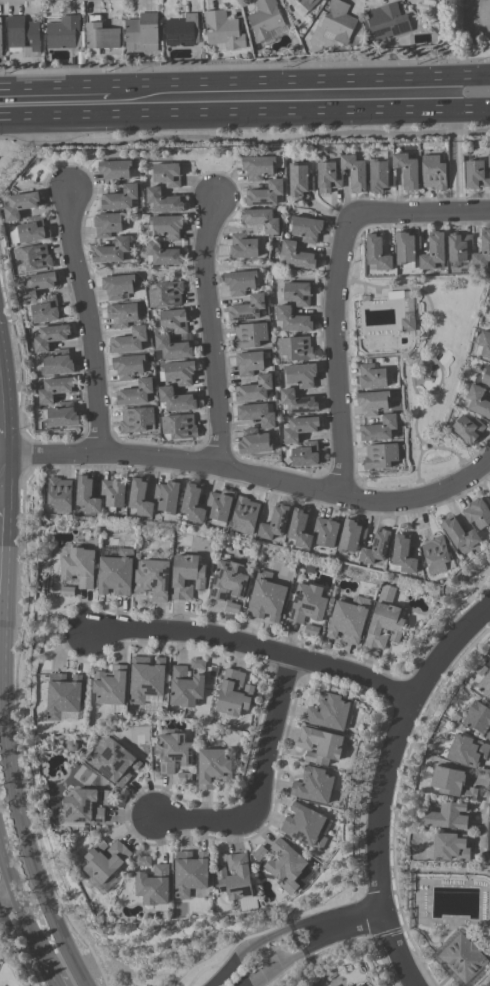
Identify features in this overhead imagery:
building: (437, 0)
building: (429, 3)
building: (304, 6)
building: (265, 20)
building: (337, 23)
building: (385, 23)
building: (181, 31)
building: (223, 32)
building: (64, 33)
building: (141, 33)
building: (100, 35)
building: (23, 36)
building: (0, 41)
road: (300, 83)
road: (55, 89)
road: (244, 113)
building: (489, 160)
road: (455, 162)
building: (260, 166)
building: (117, 170)
building: (406, 170)
building: (354, 172)
building: (433, 173)
building: (167, 175)
building: (476, 175)
building: (379, 176)
building: (328, 178)
building: (299, 180)
building: (264, 194)
building: (119, 198)
building: (163, 201)
building: (21, 205)
road: (419, 216)
building: (260, 219)
building: (106, 225)
building: (167, 226)
building: (306, 229)
building: (30, 231)
building: (242, 247)
building: (459, 247)
building: (406, 249)
building: (111, 251)
building: (482, 252)
building: (433, 253)
building: (163, 254)
building: (377, 254)
building: (297, 256)
building: (33, 258)
building: (240, 283)
building: (38, 285)
building: (118, 287)
building: (298, 293)
building: (166, 294)
building: (489, 302)
building: (247, 309)
building: (45, 310)
building: (122, 315)
building: (293, 320)
road: (88, 321)
building: (174, 321)
building: (407, 322)
building: (489, 326)
road: (209, 332)
building: (249, 335)
building: (50, 337)
building: (129, 341)
building: (484, 344)
building: (173, 348)
building: (295, 349)
road: (336, 355)
building: (58, 363)
building: (248, 363)
building: (128, 367)
building: (178, 373)
building: (301, 375)
building: (486, 375)
building: (371, 377)
building: (55, 389)
building: (254, 389)
building: (489, 391)
building: (135, 393)
building: (177, 400)
building: (298, 402)
building: (372, 402)
building: (478, 402)
building: (257, 415)
building: (62, 416)
building: (136, 420)
building: (179, 427)
building: (300, 429)
building: (379, 429)
building: (468, 429)
road: (2, 434)
building: (254, 442)
building: (306, 455)
building: (380, 456)
road: (3, 468)
road: (223, 468)
road: (1, 481)
road: (467, 482)
building: (113, 494)
road: (1, 495)
building: (60, 495)
building: (87, 495)
building: (167, 497)
building: (140, 498)
building: (192, 504)
building: (220, 507)
building: (477, 514)
building: (245, 516)
building: (274, 523)
building: (299, 529)
building: (325, 533)
building: (459, 534)
building: (351, 537)
building: (376, 548)
building: (403, 555)
building: (436, 555)
building: (78, 567)
building: (116, 573)
building: (186, 577)
building: (153, 579)
building: (228, 581)
building: (67, 592)
building: (266, 598)
building: (307, 604)
building: (232, 608)
building: (384, 620)
building: (349, 621)
building: (311, 631)
road: (255, 647)
building: (197, 664)
building: (146, 679)
building: (485, 686)
building: (186, 688)
building: (110, 689)
building: (233, 694)
building: (63, 696)
building: (328, 712)
building: (69, 716)
building: (478, 719)
park: (139, 736)
building: (320, 746)
building: (467, 752)
building: (173, 753)
building: (114, 763)
building: (213, 768)
building: (184, 778)
building: (452, 783)
road: (383, 784)
road: (264, 785)
building: (313, 786)
building: (108, 798)
building: (80, 809)
road: (19, 817)
building: (448, 817)
building: (305, 827)
building: (450, 848)
building: (259, 854)
building: (105, 861)
building: (142, 861)
building: (285, 867)
building: (189, 874)
building: (237, 882)
building: (153, 888)
road: (7, 897)
road: (22, 911)
road: (356, 921)
road: (330, 927)
road: (245, 949)
toll booth: (303, 951)
building: (463, 958)
road: (274, 967)
road: (53, 981)
building: (359, 985)

